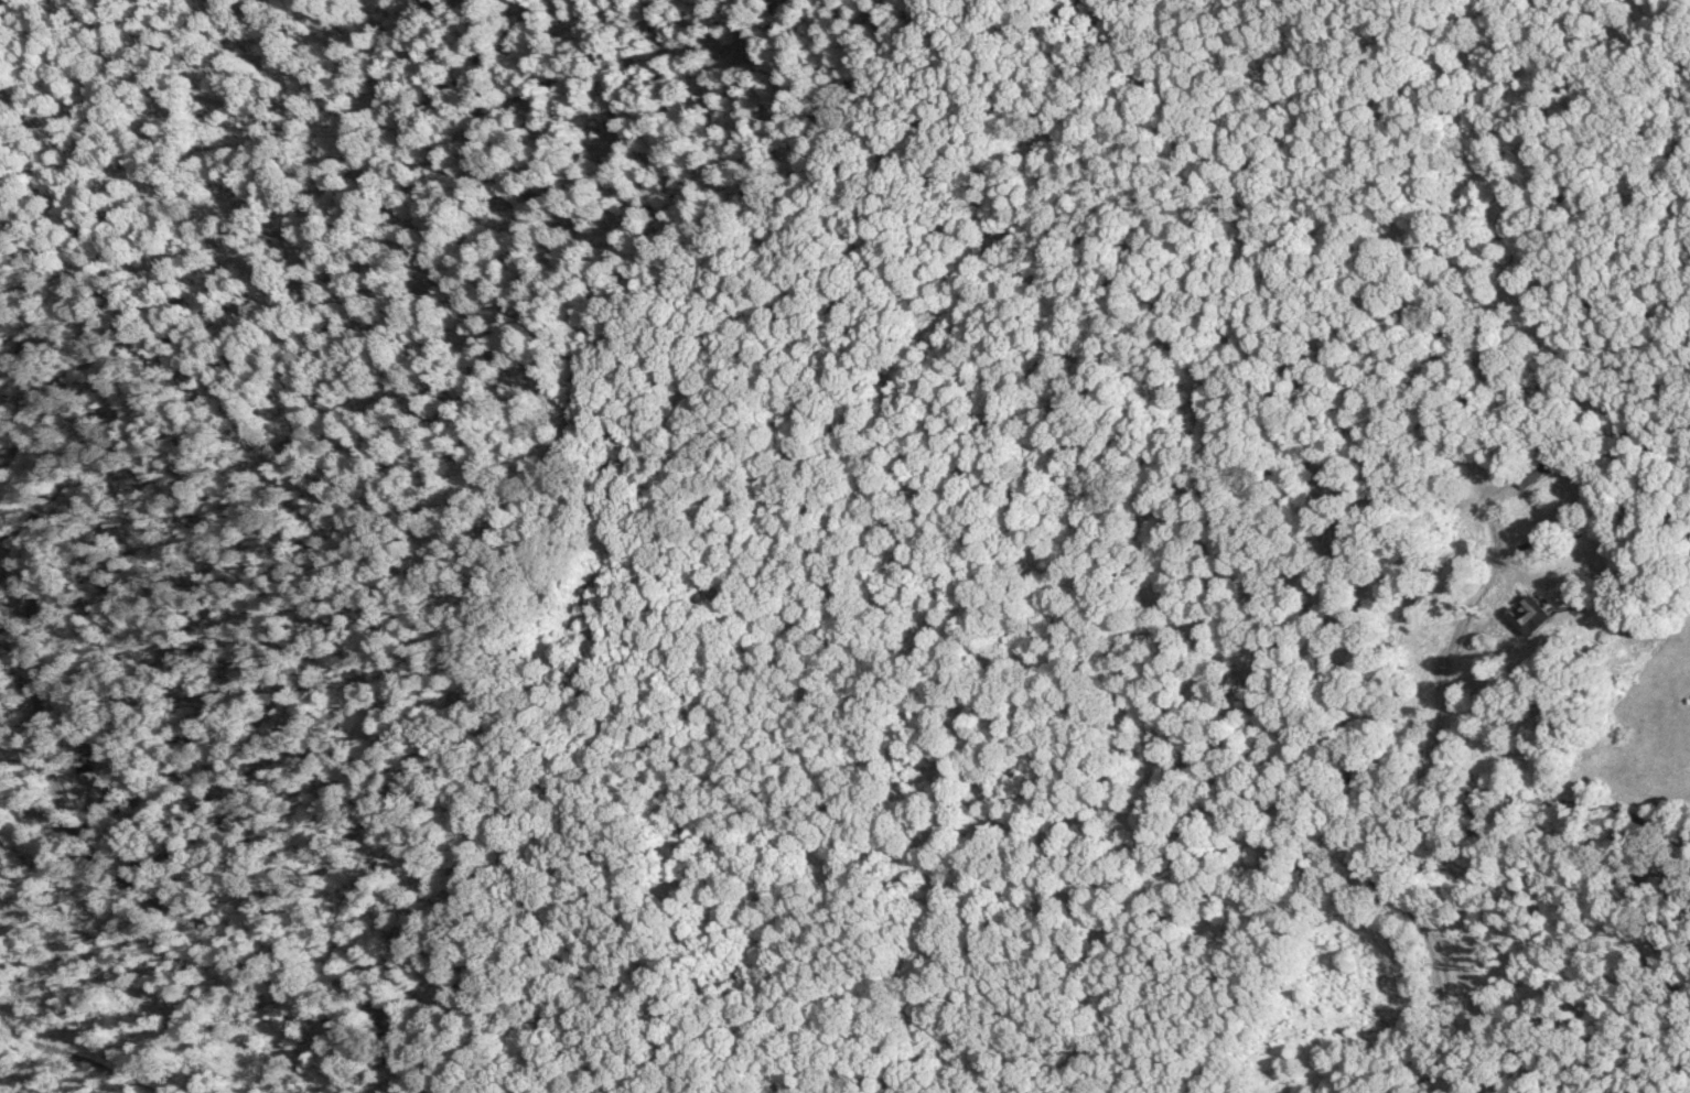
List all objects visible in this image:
road: (1348, 844)
road: (136, 902)

